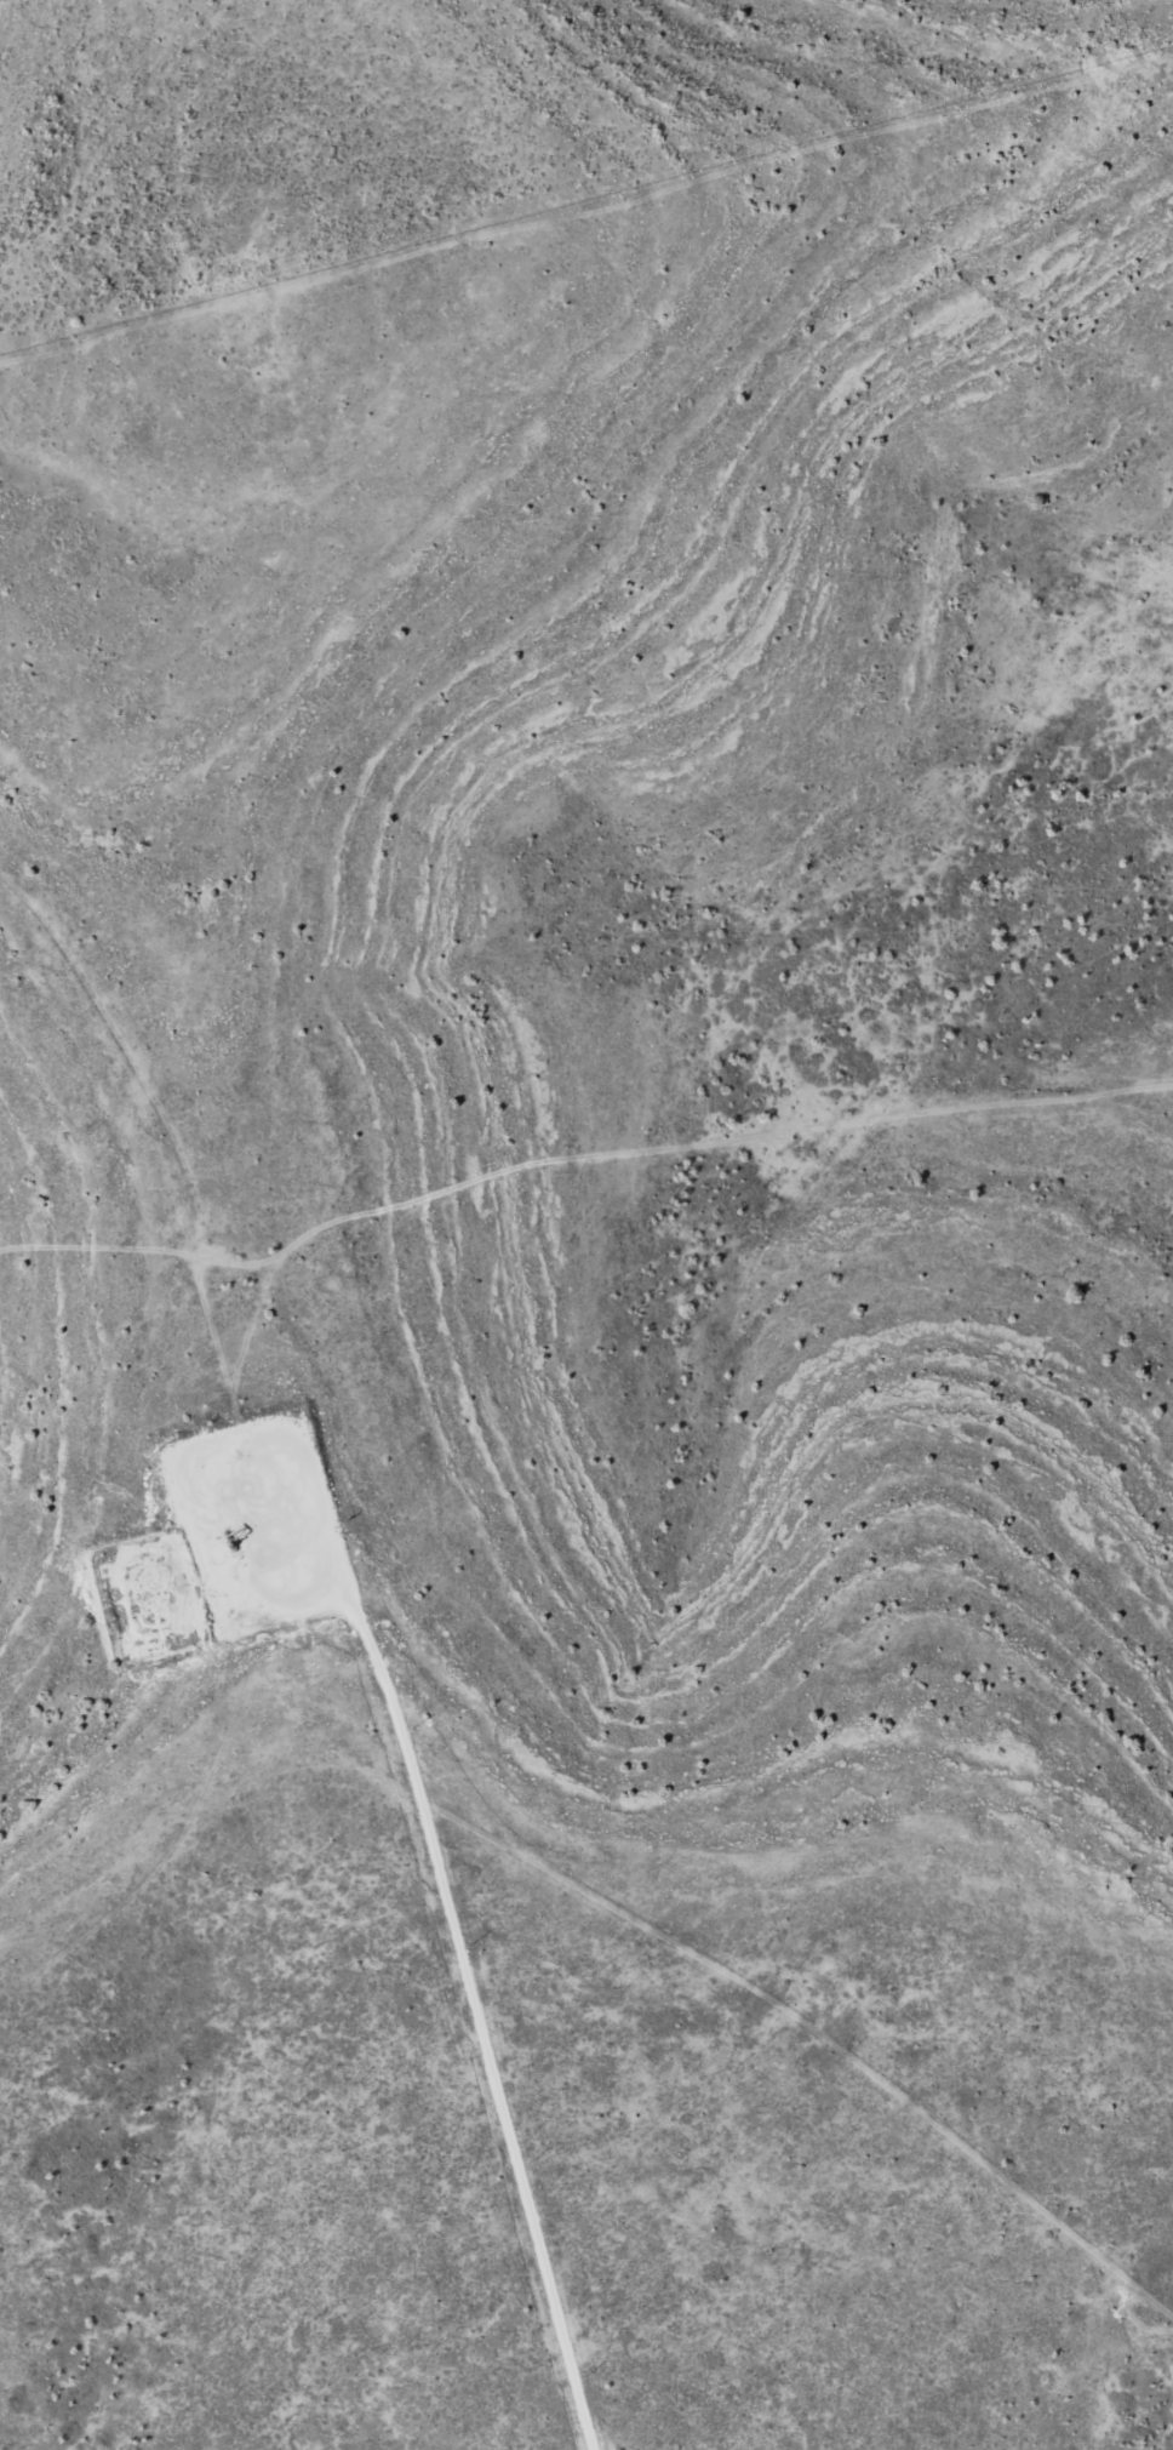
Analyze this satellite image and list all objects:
road: (344, 1285)

